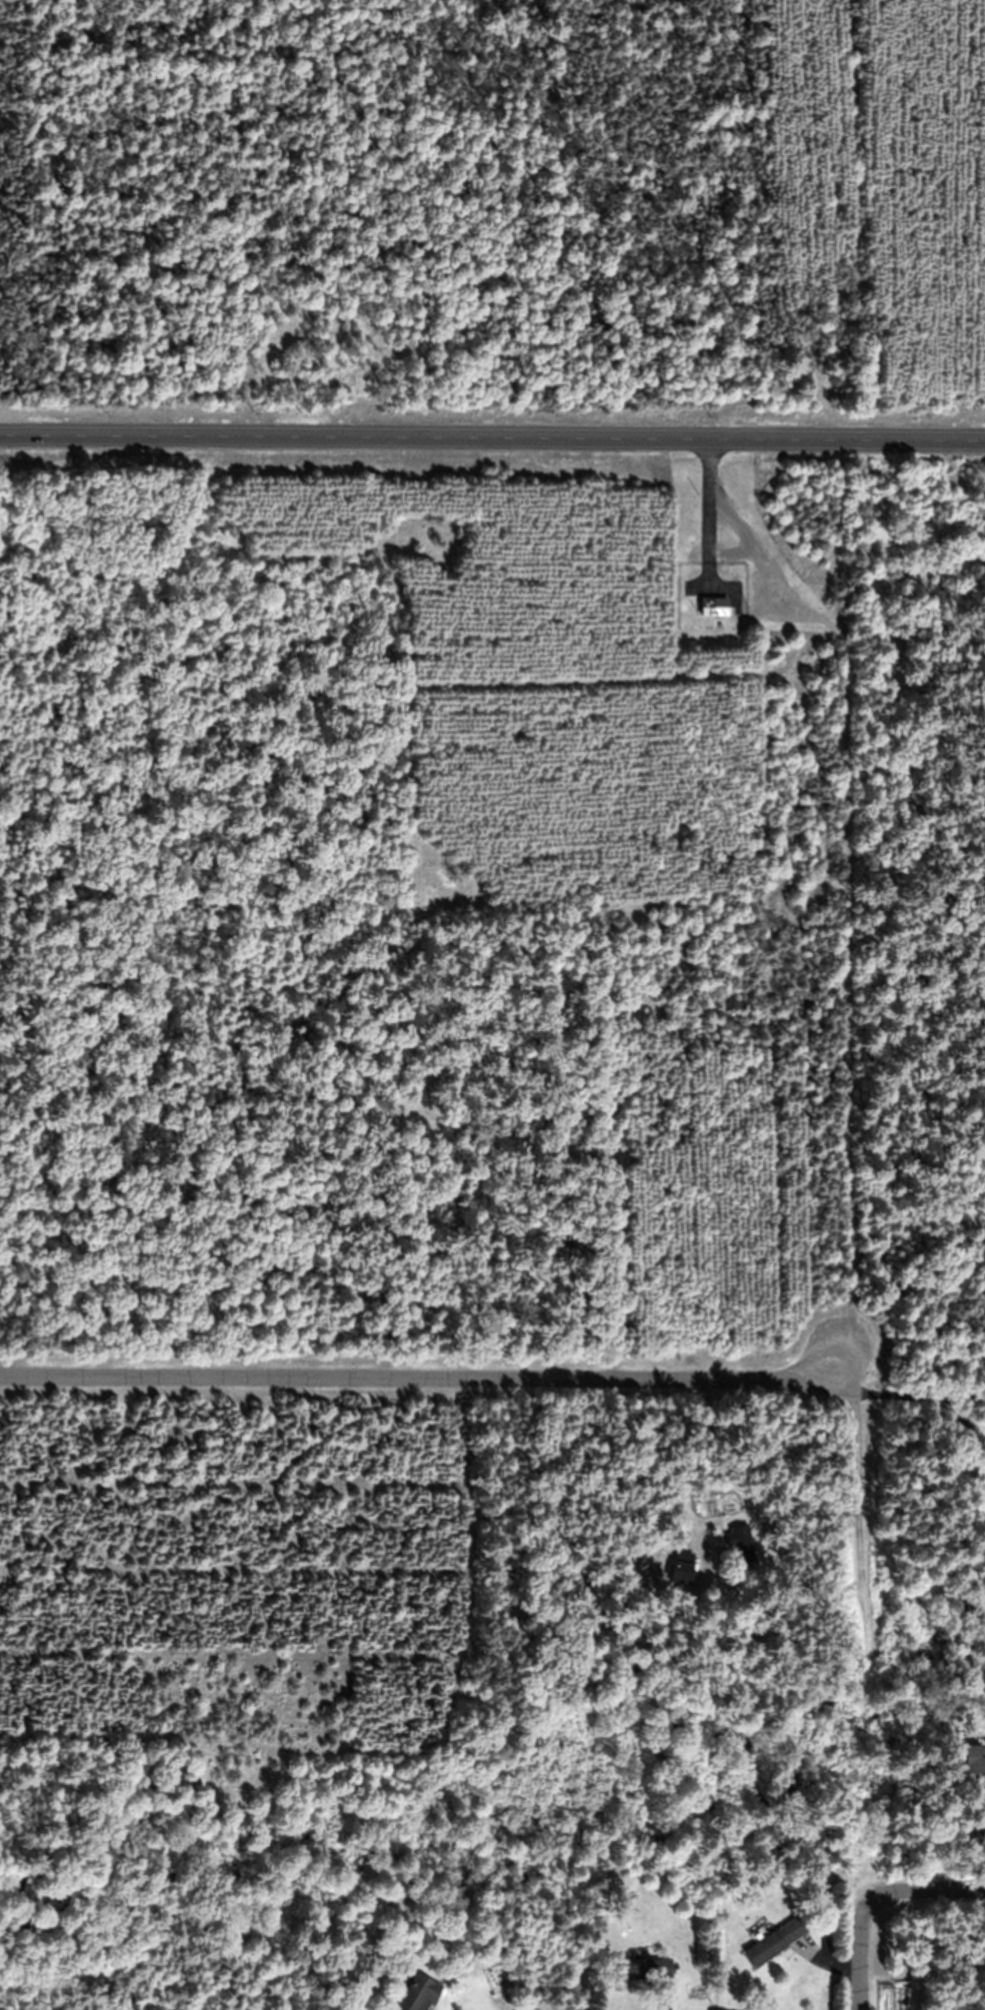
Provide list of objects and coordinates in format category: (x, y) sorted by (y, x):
road: (492, 439)
building: (714, 606)
road: (427, 1380)
road: (849, 1510)
building: (682, 1567)
building: (979, 1759)
road: (937, 1889)
building: (776, 1941)
road: (859, 1943)
building: (644, 1970)
building: (419, 1994)

